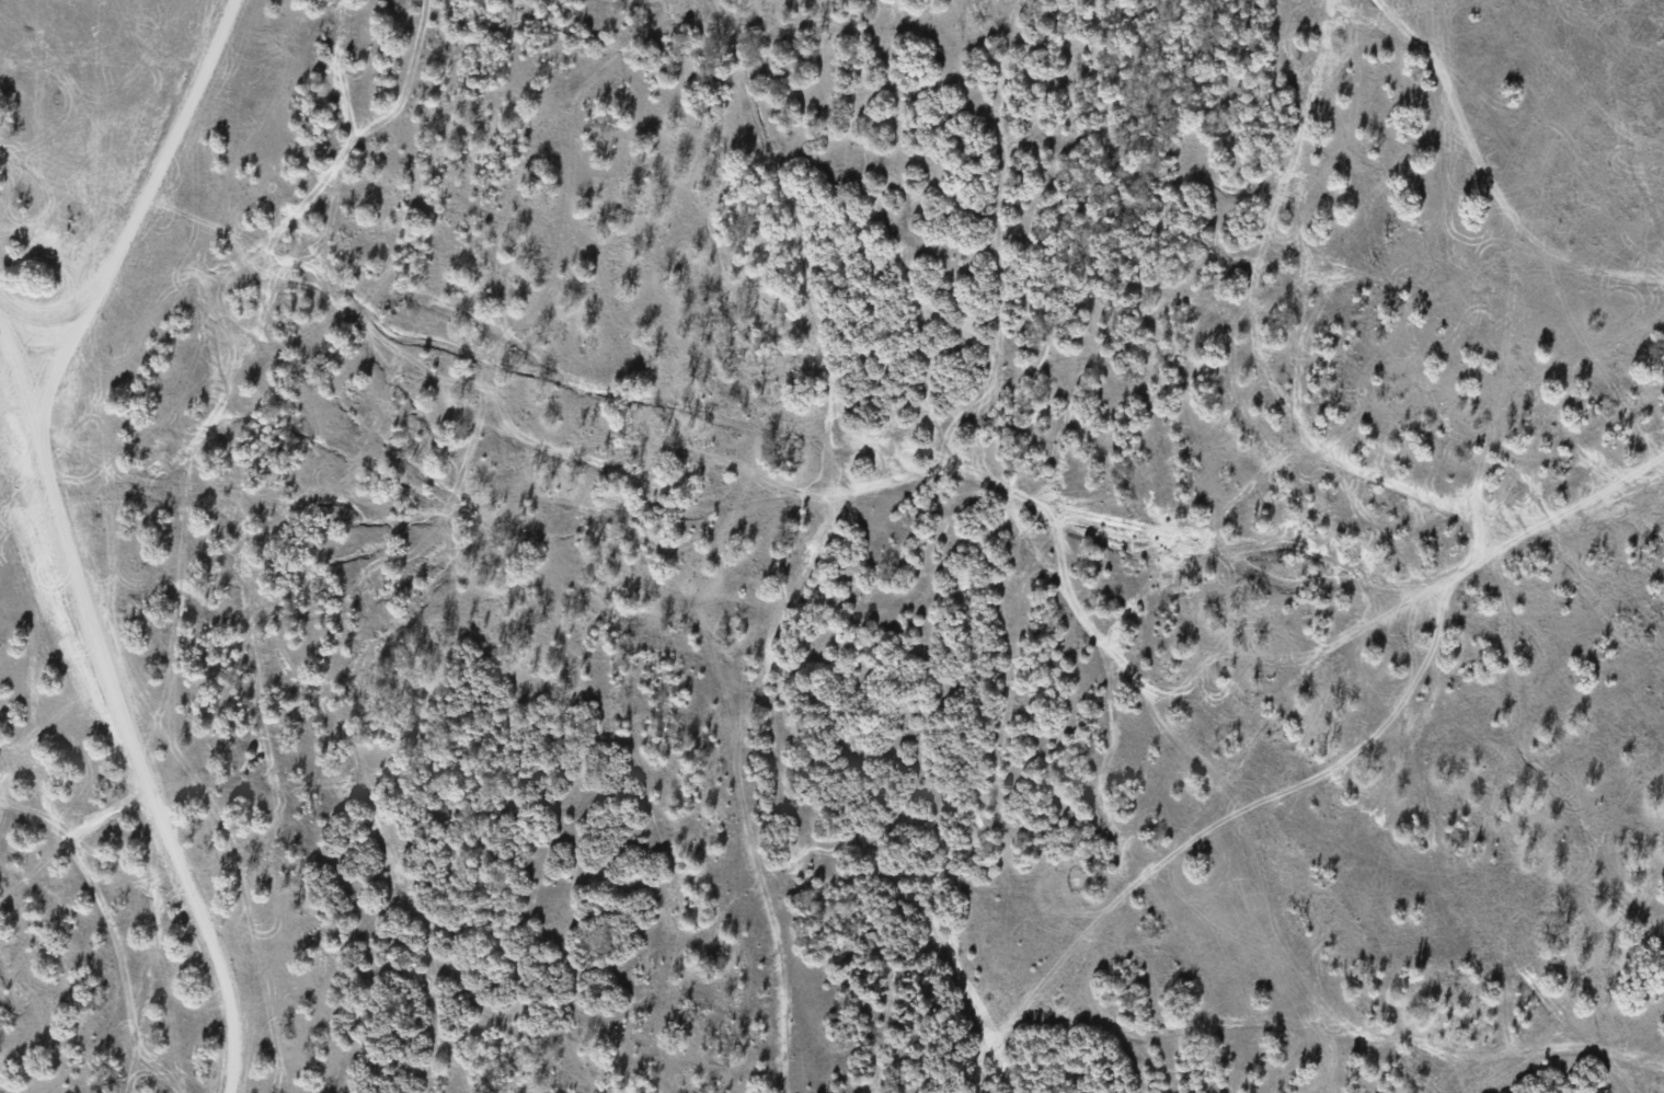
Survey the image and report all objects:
road: (131, 714)

